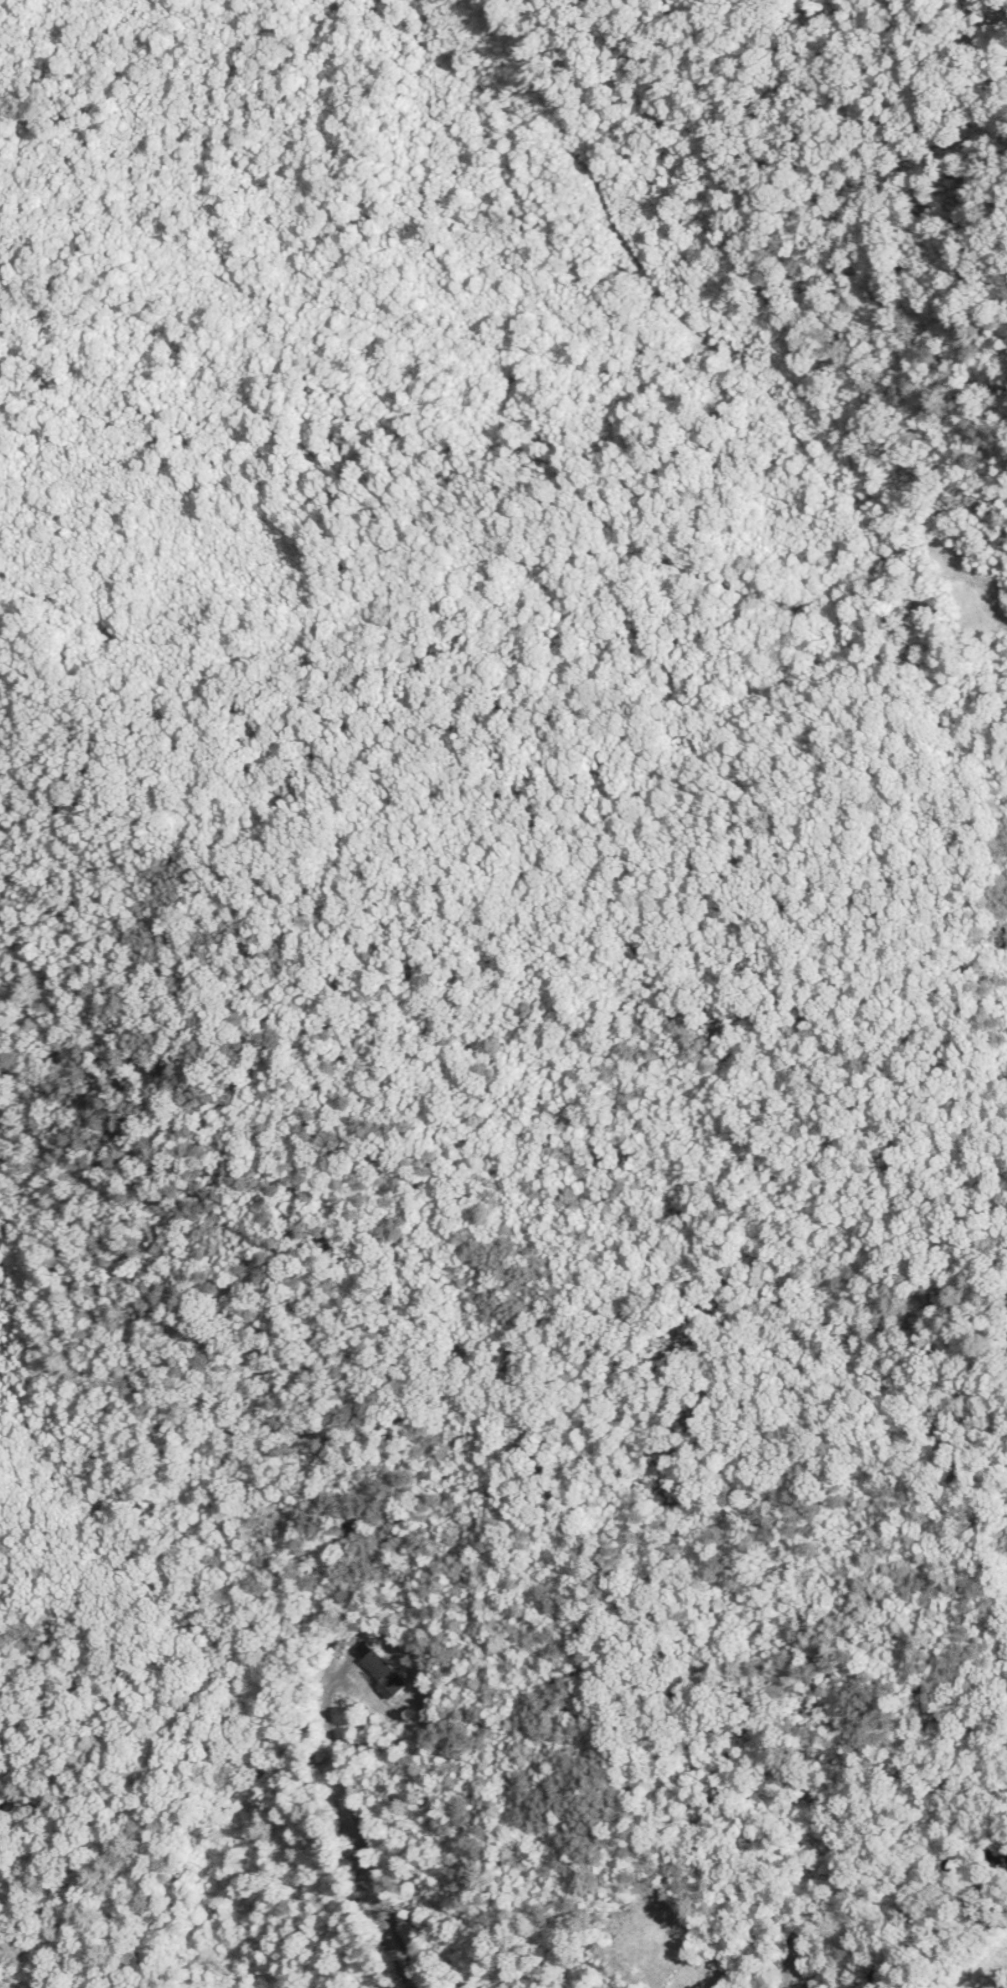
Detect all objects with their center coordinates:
building: (384, 1670)
road: (357, 1823)
river: (919, 1917)

